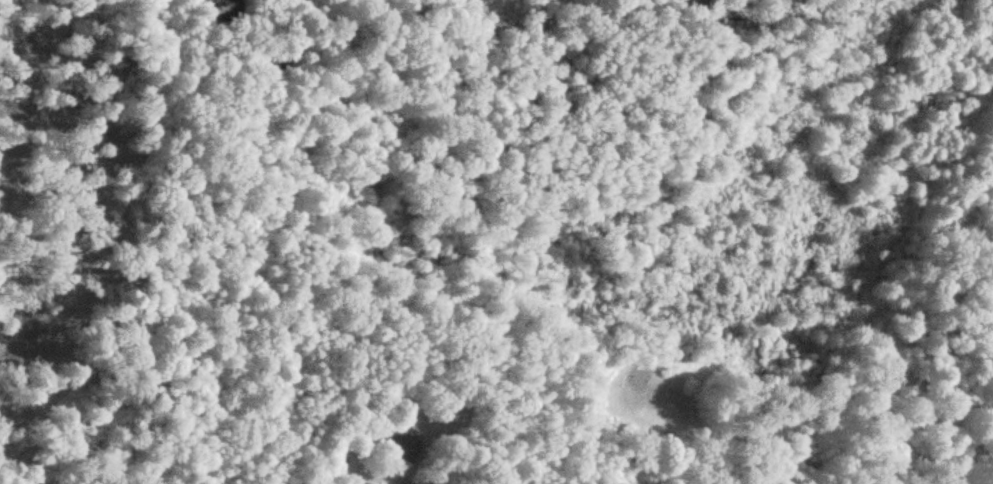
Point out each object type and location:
building: (401, 446)

